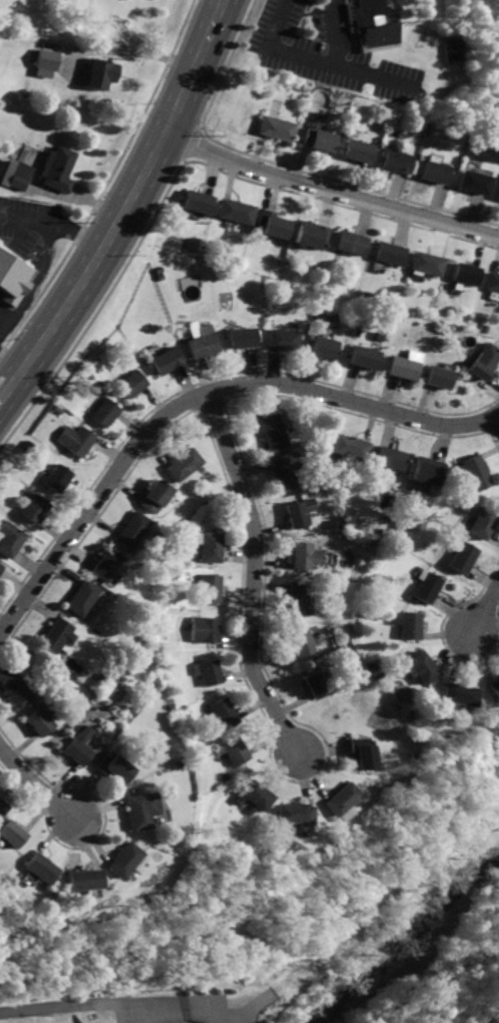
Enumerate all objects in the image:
building: (368, 23)
building: (448, 48)
road: (121, 53)
building: (46, 59)
road: (313, 59)
road: (227, 63)
building: (101, 72)
road: (375, 77)
road: (146, 103)
road: (200, 127)
building: (279, 129)
building: (321, 140)
road: (189, 142)
building: (360, 151)
road: (183, 159)
building: (399, 161)
building: (60, 170)
building: (435, 171)
building: (20, 174)
building: (472, 182)
road: (346, 184)
road: (330, 191)
building: (497, 193)
road: (76, 199)
building: (198, 202)
road: (341, 204)
road: (125, 211)
building: (237, 211)
road: (55, 222)
building: (272, 222)
building: (313, 235)
building: (352, 243)
building: (390, 253)
building: (427, 263)
building: (465, 273)
building: (12, 278)
road: (37, 279)
building: (492, 281)
building: (246, 337)
building: (285, 339)
building: (204, 345)
building: (327, 347)
building: (365, 357)
road: (12, 360)
building: (169, 360)
building: (482, 362)
building: (404, 366)
building: (437, 377)
building: (132, 383)
road: (197, 399)
building: (106, 411)
road: (496, 421)
building: (276, 432)
building: (74, 440)
building: (351, 447)
building: (389, 459)
building: (183, 464)
building: (475, 472)
building: (286, 473)
building: (427, 474)
building: (56, 479)
building: (154, 498)
building: (36, 509)
building: (303, 512)
building: (484, 523)
building: (132, 531)
building: (12, 540)
building: (212, 548)
building: (308, 556)
building: (462, 557)
building: (1, 564)
building: (106, 566)
building: (1, 568)
road: (255, 576)
building: (429, 587)
building: (210, 588)
building: (82, 599)
building: (301, 599)
road: (487, 613)
building: (410, 624)
building: (205, 631)
building: (57, 637)
building: (305, 642)
building: (423, 668)
building: (207, 672)
building: (320, 685)
building: (16, 687)
building: (494, 687)
building: (464, 694)
building: (223, 712)
building: (42, 721)
building: (80, 748)
building: (235, 752)
building: (364, 753)
building: (119, 769)
road: (36, 785)
building: (255, 795)
building: (341, 800)
building: (2, 807)
building: (142, 811)
building: (294, 814)
building: (12, 834)
building: (124, 860)
building: (41, 869)
building: (83, 880)
road: (94, 1005)
road: (251, 1007)
road: (210, 1012)
road: (233, 1022)

